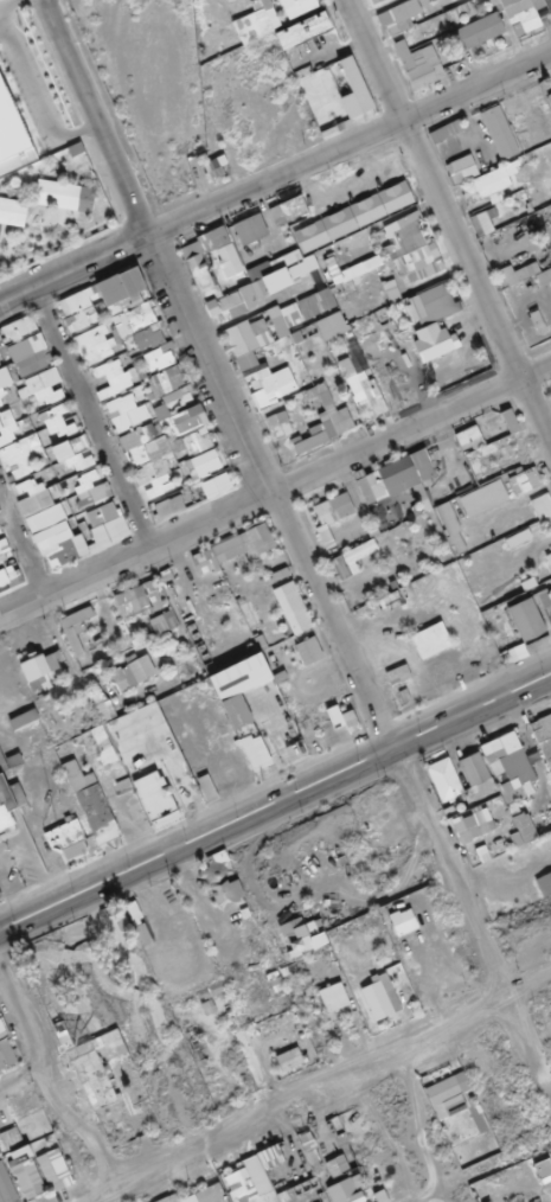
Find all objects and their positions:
road: (12, 5)
road: (1, 34)
road: (34, 102)
road: (275, 179)
building: (47, 210)
road: (448, 224)
road: (89, 418)
road: (274, 490)
road: (293, 546)
road: (20, 550)
road: (451, 715)
road: (159, 781)
road: (274, 785)
road: (282, 794)
road: (275, 811)
road: (166, 850)
road: (56, 1078)
road: (26, 1080)
road: (321, 1092)
road: (422, 1130)
road: (430, 1196)

